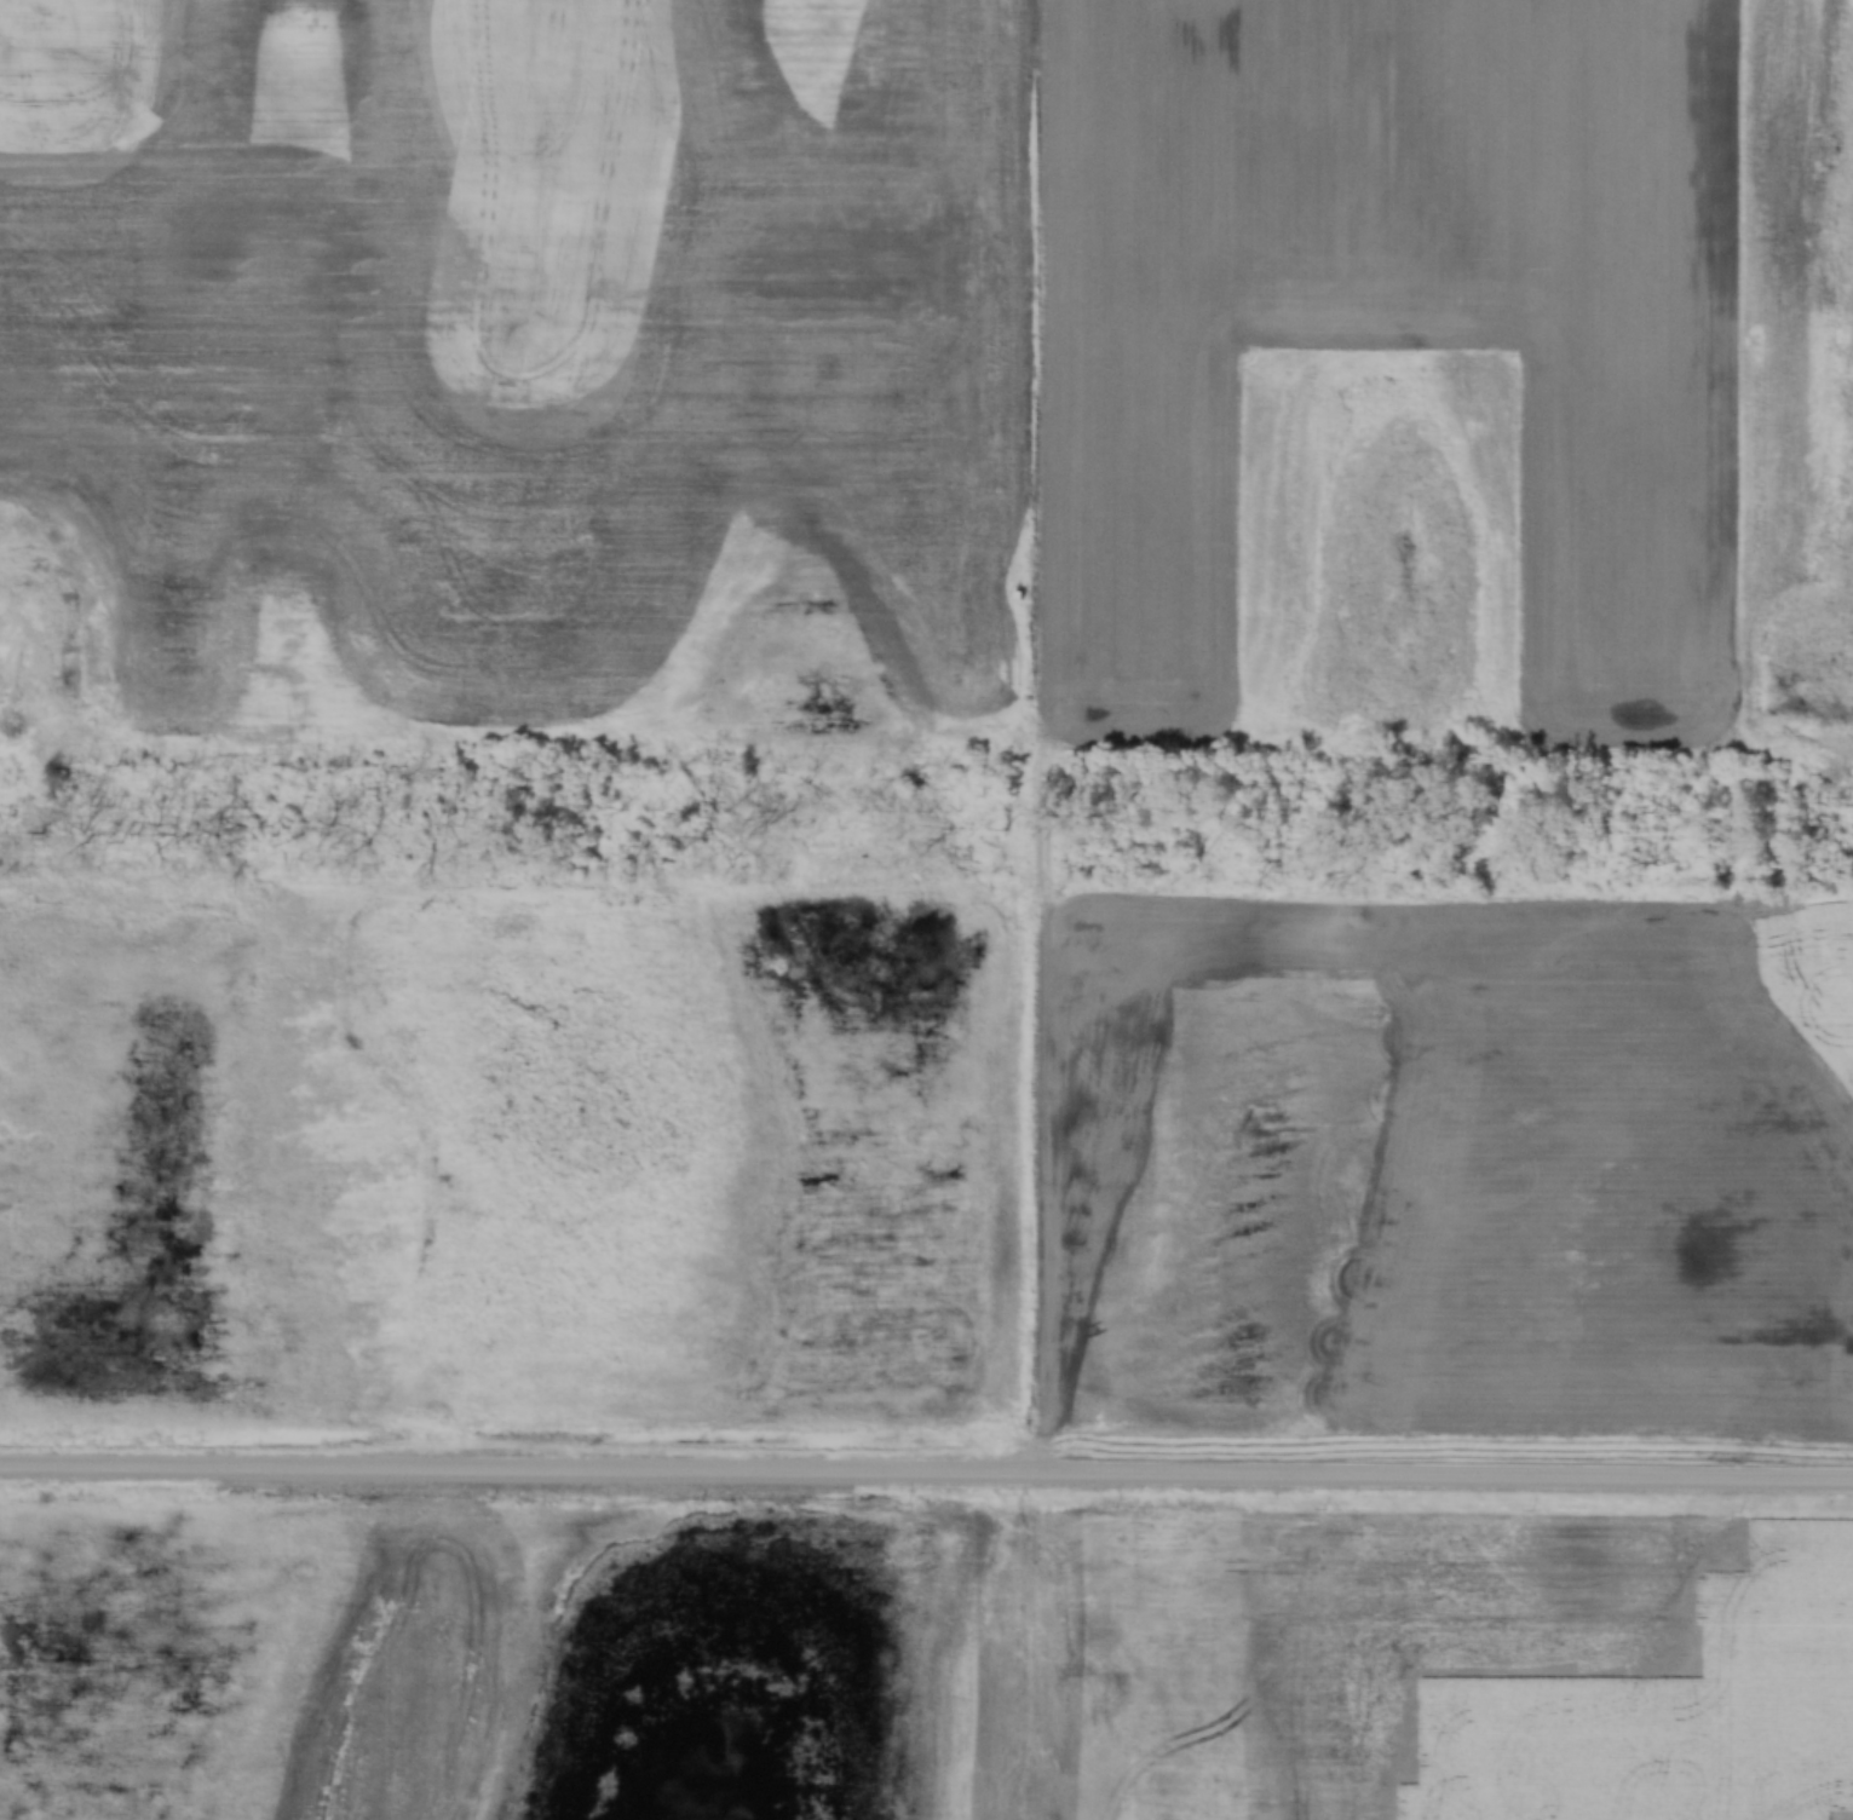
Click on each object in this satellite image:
road: (926, 1476)

